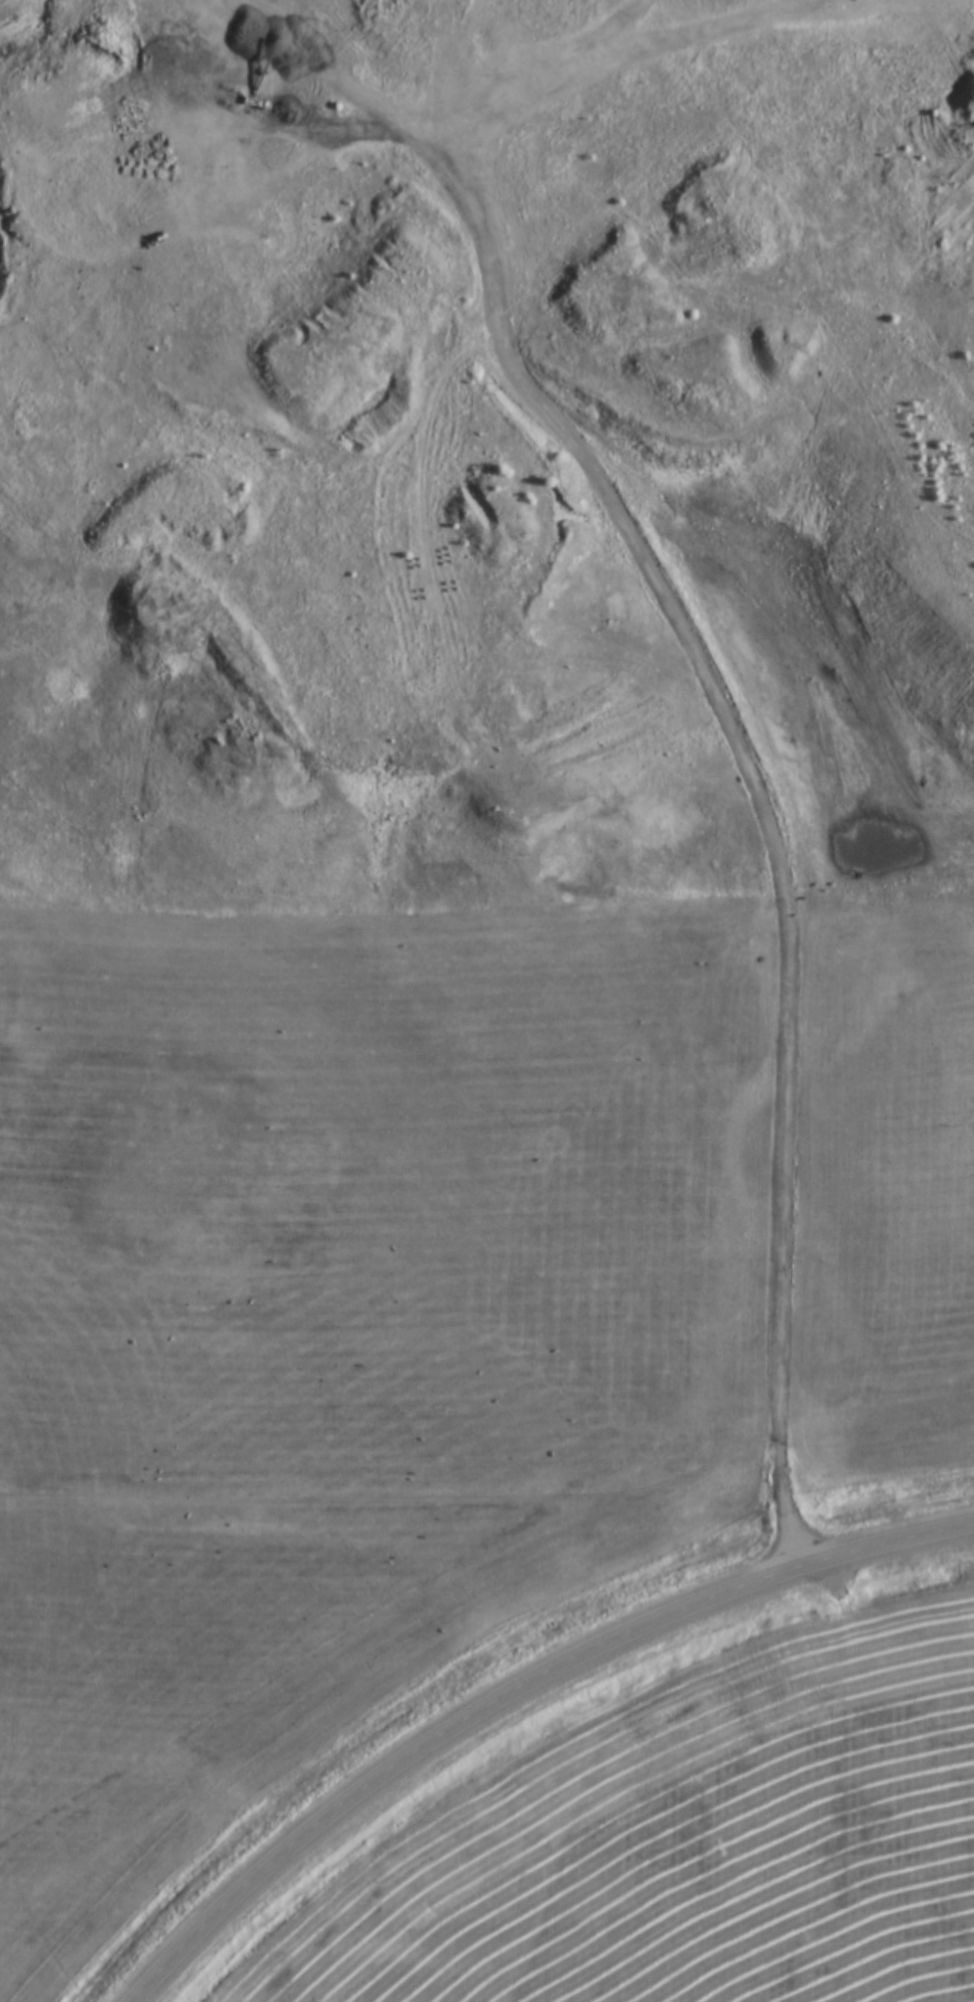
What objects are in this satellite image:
quarry: (461, 292)
road: (496, 589)
road: (421, 1504)
road: (511, 1691)

